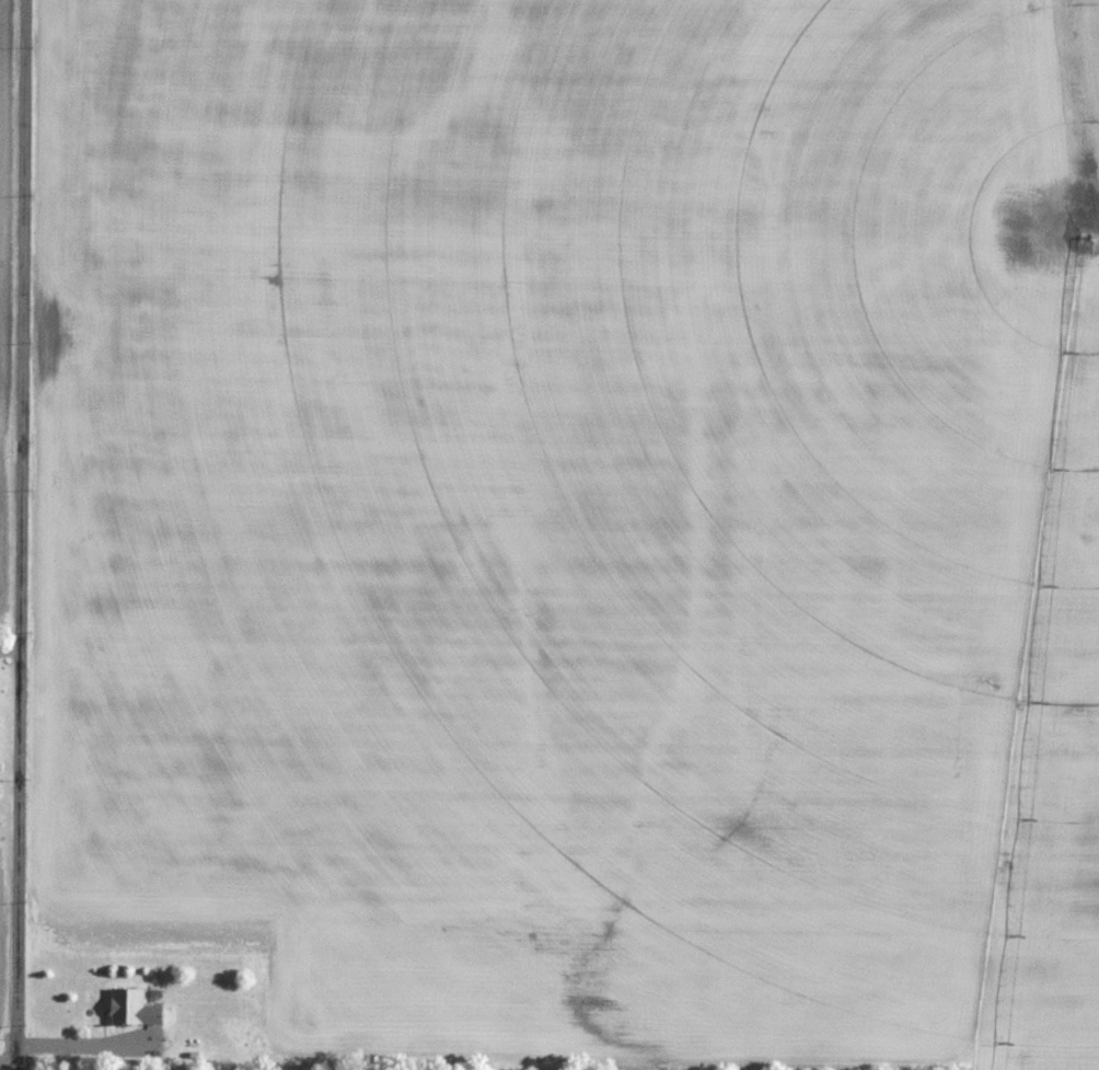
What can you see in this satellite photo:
road: (22, 534)
building: (135, 1008)
road: (83, 1045)
road: (9, 1069)

